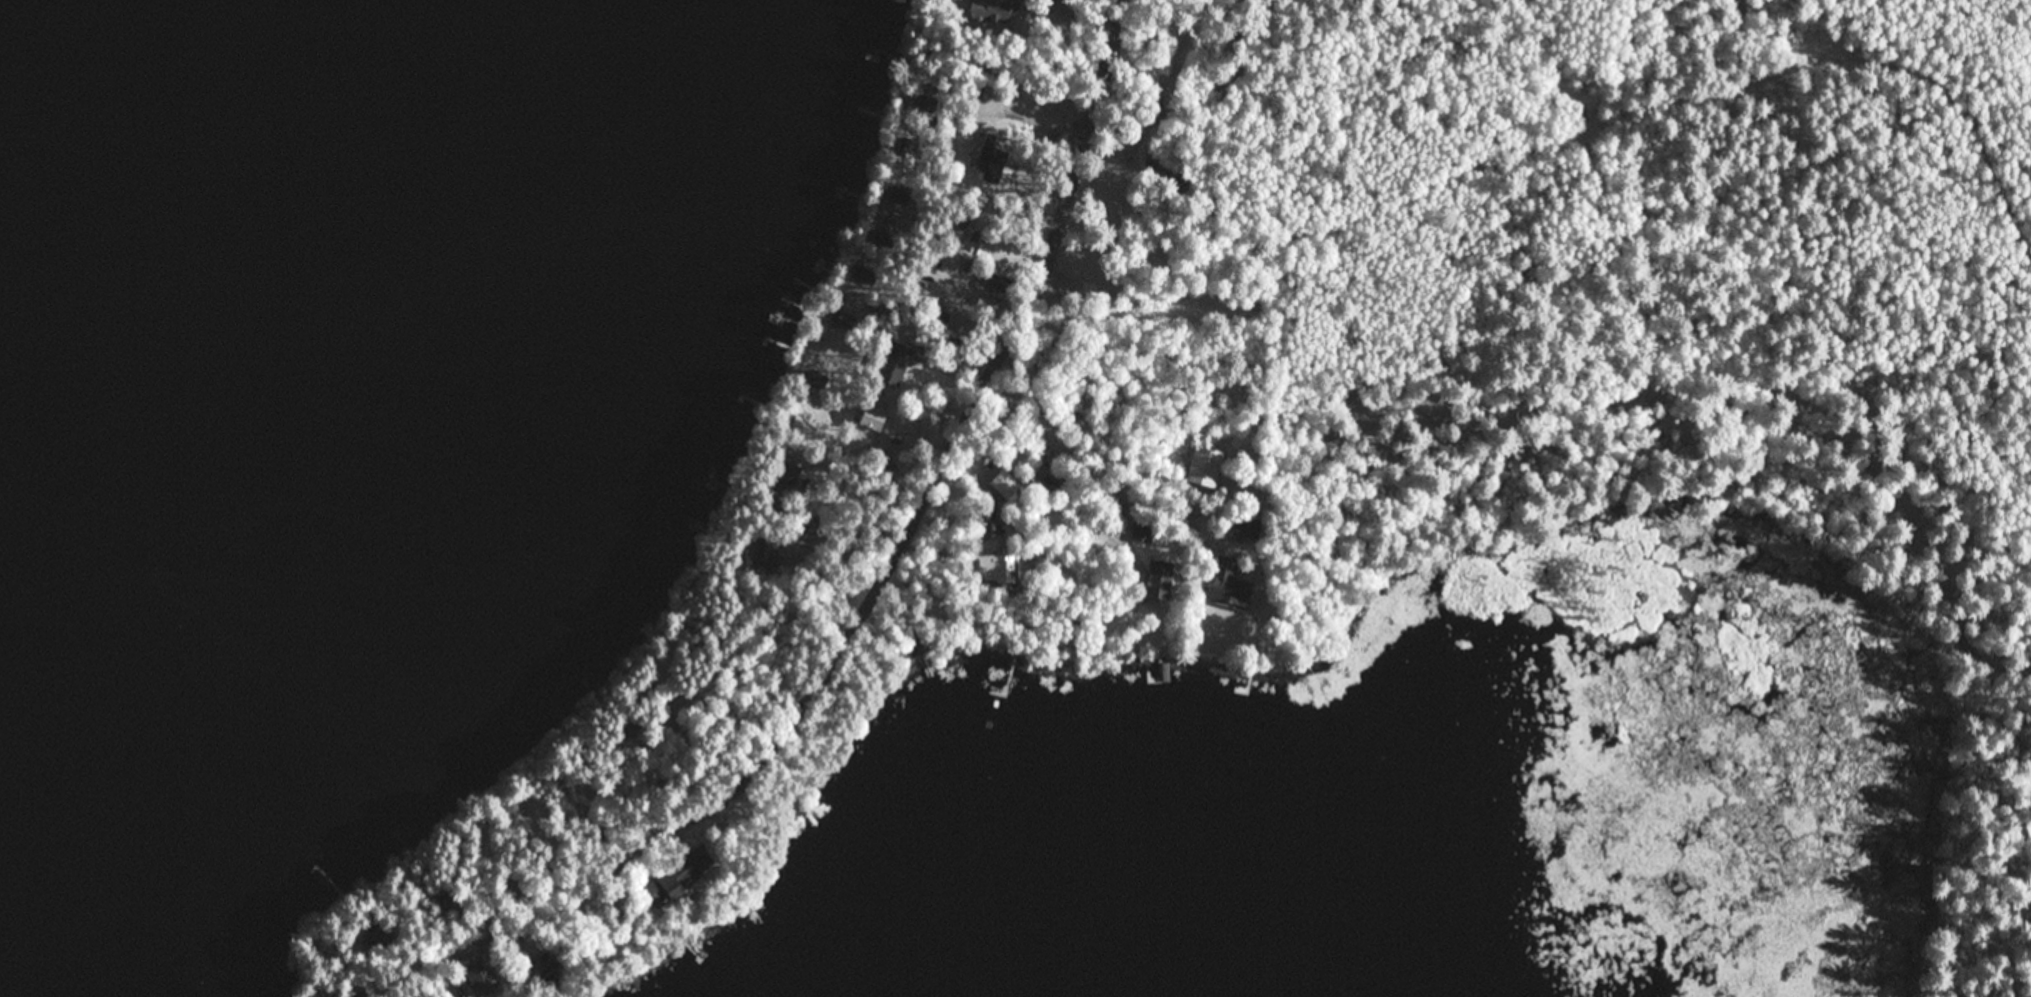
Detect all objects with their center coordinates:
building: (1063, 0)
building: (1059, 1)
building: (993, 11)
building: (912, 146)
building: (992, 160)
building: (1170, 178)
building: (901, 194)
building: (954, 216)
building: (885, 240)
building: (864, 276)
building: (990, 280)
building: (1000, 284)
building: (936, 316)
building: (845, 322)
building: (957, 346)
building: (896, 363)
building: (818, 382)
building: (871, 418)
building: (930, 419)
building: (802, 430)
road: (934, 457)
building: (1207, 467)
building: (883, 473)
building: (785, 475)
building: (1051, 480)
building: (1004, 483)
building: (804, 521)
building: (1246, 528)
building: (1091, 537)
building: (761, 558)
building: (995, 569)
building: (1159, 577)
building: (1229, 584)
building: (591, 790)
building: (538, 809)
building: (678, 878)
building: (509, 884)
building: (446, 901)
building: (380, 941)
building: (544, 972)
building: (482, 977)
building: (357, 992)

